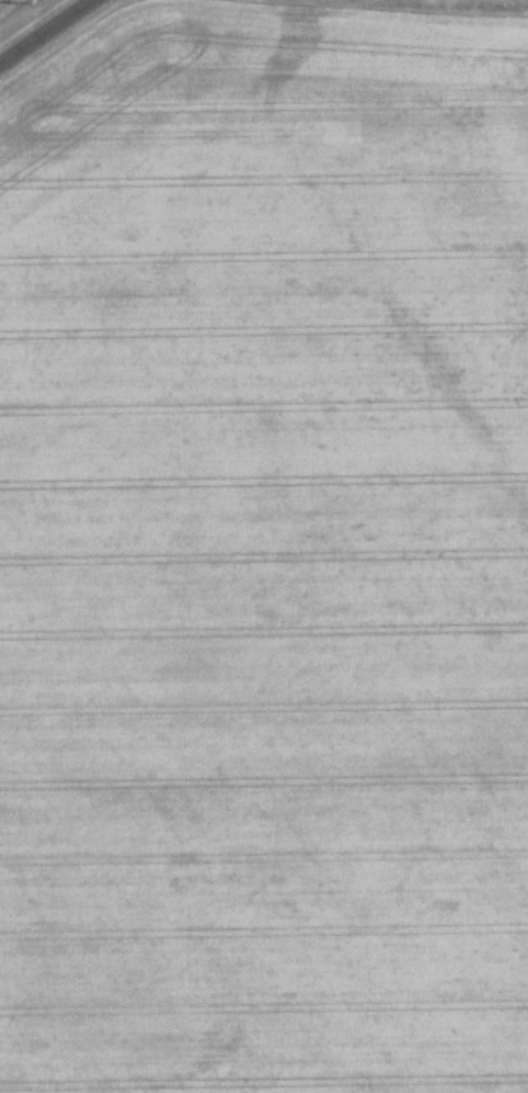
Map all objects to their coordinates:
crop: (7, 4)
road: (46, 32)
crop: (265, 554)

